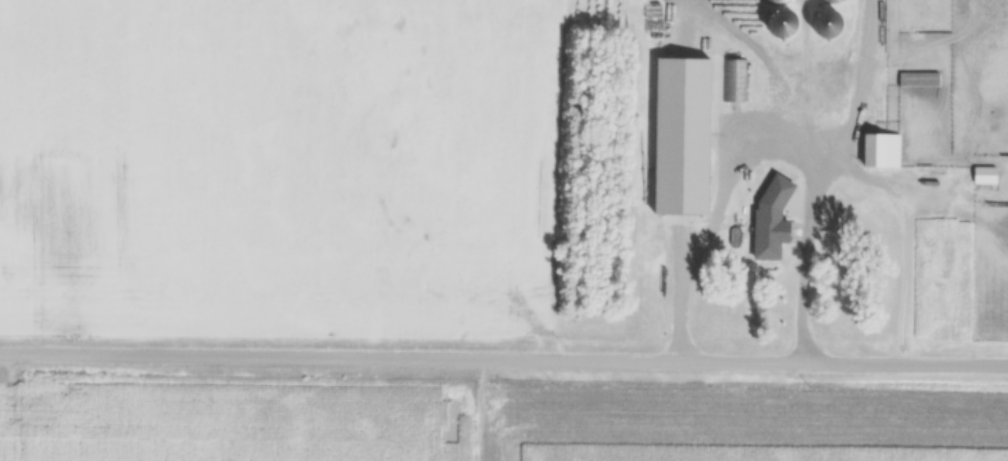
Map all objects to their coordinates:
building: (781, 23)
building: (823, 23)
building: (918, 79)
building: (734, 81)
building: (681, 123)
building: (879, 151)
road: (762, 159)
building: (983, 175)
building: (772, 229)
road: (503, 359)
crop: (740, 424)

